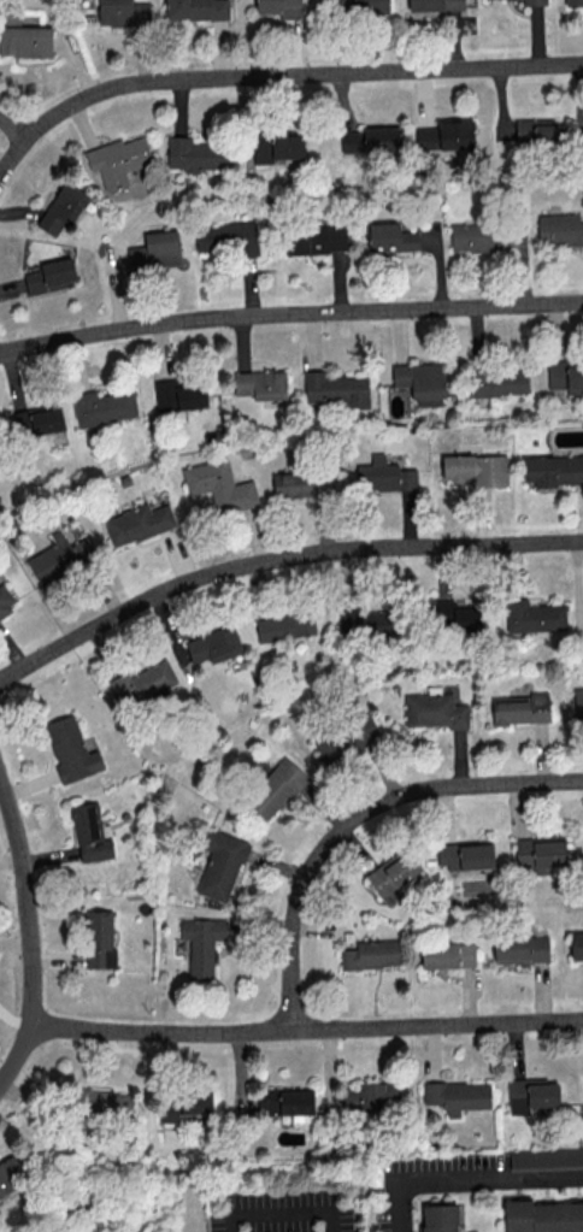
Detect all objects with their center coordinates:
building: (326, 0)
building: (534, 1)
building: (573, 1)
building: (435, 5)
building: (359, 6)
building: (281, 7)
building: (196, 8)
building: (124, 13)
building: (25, 41)
road: (275, 77)
road: (13, 130)
building: (538, 132)
building: (446, 135)
building: (381, 140)
building: (352, 141)
building: (277, 146)
building: (195, 154)
building: (118, 159)
building: (61, 208)
building: (559, 230)
building: (226, 237)
building: (390, 237)
building: (314, 238)
building: (487, 238)
building: (155, 250)
building: (49, 276)
road: (289, 314)
building: (566, 375)
building: (422, 382)
building: (497, 382)
building: (260, 384)
building: (336, 389)
building: (178, 395)
building: (102, 406)
building: (36, 420)
building: (476, 468)
building: (553, 470)
building: (384, 474)
building: (301, 484)
building: (219, 485)
building: (137, 523)
building: (59, 558)
road: (277, 558)
building: (6, 600)
building: (457, 615)
building: (534, 615)
building: (366, 619)
building: (284, 625)
building: (213, 644)
building: (142, 684)
building: (578, 703)
building: (520, 708)
building: (434, 709)
building: (346, 738)
building: (71, 749)
building: (276, 789)
road: (357, 820)
building: (90, 832)
building: (538, 854)
building: (465, 855)
building: (220, 863)
building: (393, 876)
road: (31, 933)
building: (99, 938)
building: (201, 944)
building: (576, 945)
building: (520, 948)
building: (371, 954)
building: (447, 955)
road: (307, 1031)
building: (531, 1094)
building: (457, 1095)
building: (372, 1096)
building: (284, 1101)
building: (104, 1102)
building: (183, 1104)
building: (546, 1159)
building: (12, 1173)
road: (465, 1175)
road: (281, 1210)
building: (542, 1215)
building: (438, 1218)

